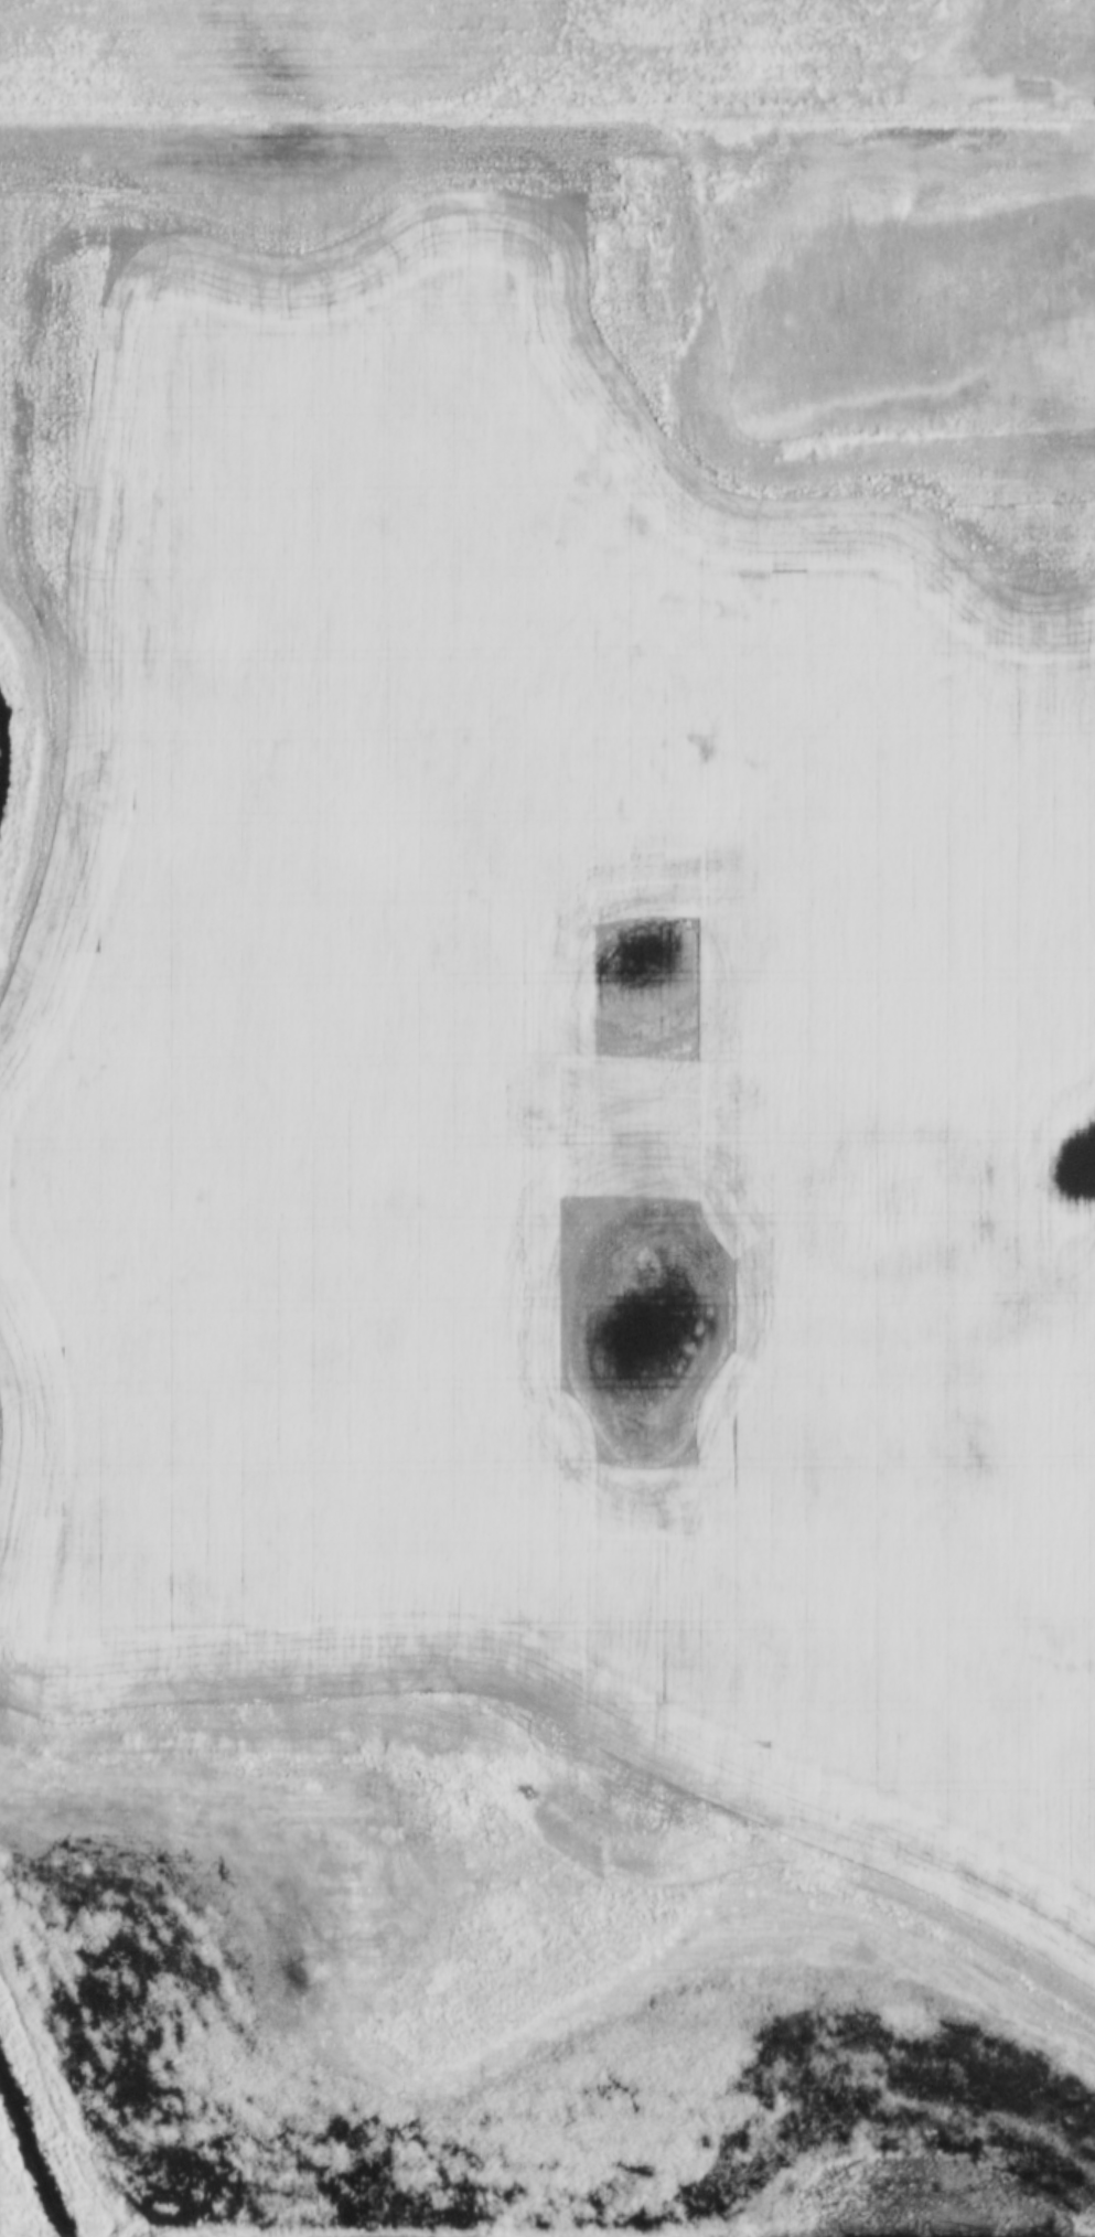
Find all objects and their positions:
crop: (547, 53)
crop: (546, 1073)

